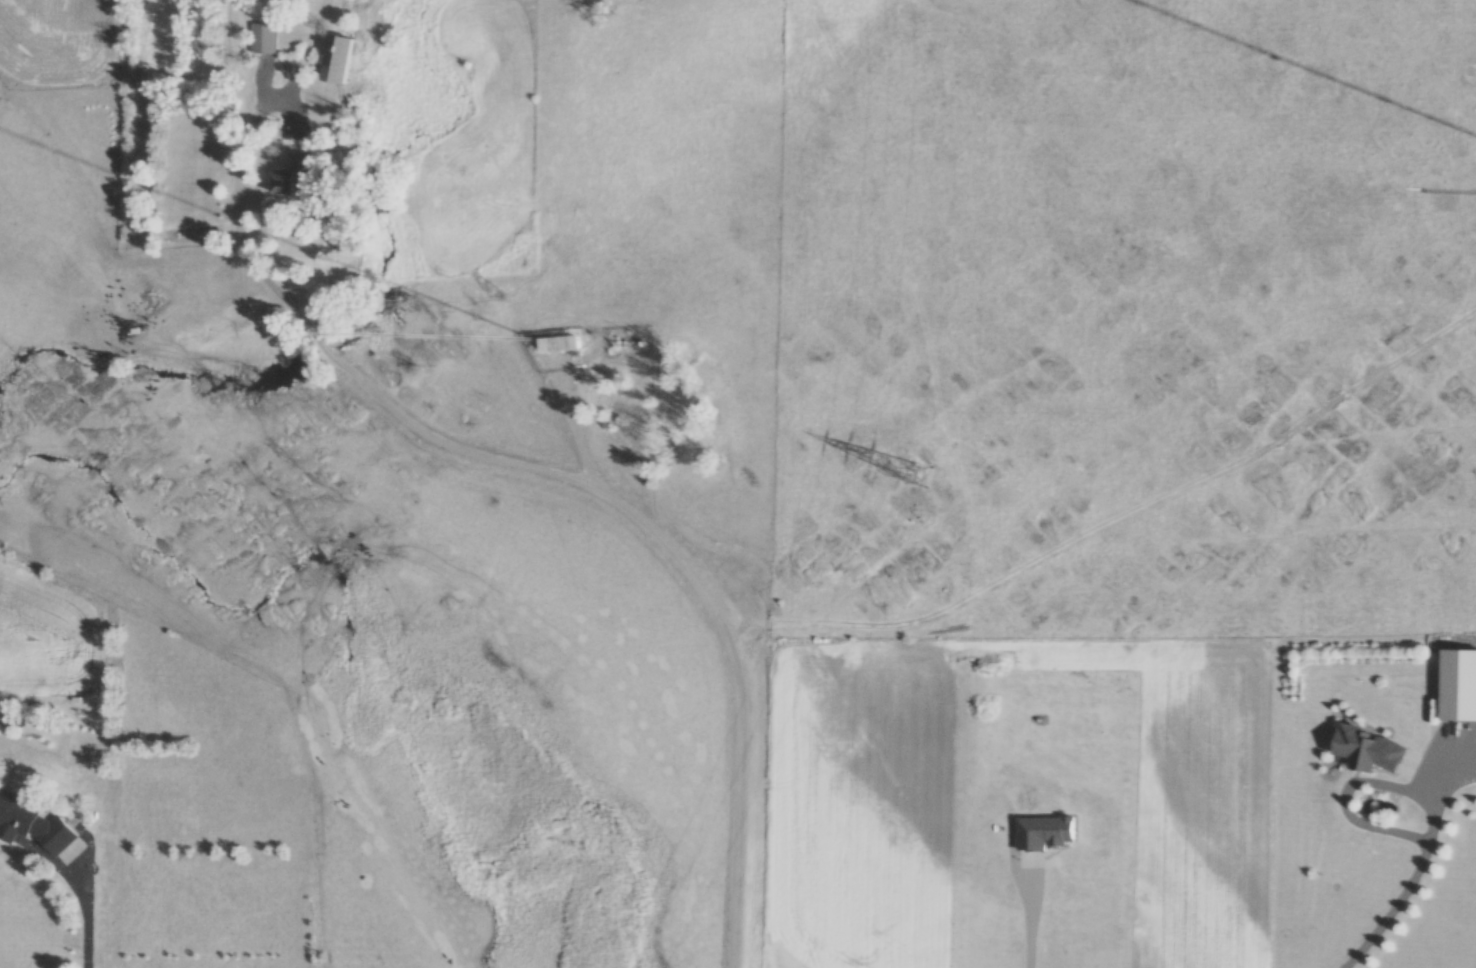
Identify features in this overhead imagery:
building: (261, 40)
building: (342, 61)
building: (286, 183)
building: (560, 344)
road: (554, 477)
power tower: (917, 490)
building: (1458, 687)
building: (1367, 751)
road: (1353, 787)
building: (35, 828)
road: (1394, 911)
road: (79, 917)
road: (1031, 929)

